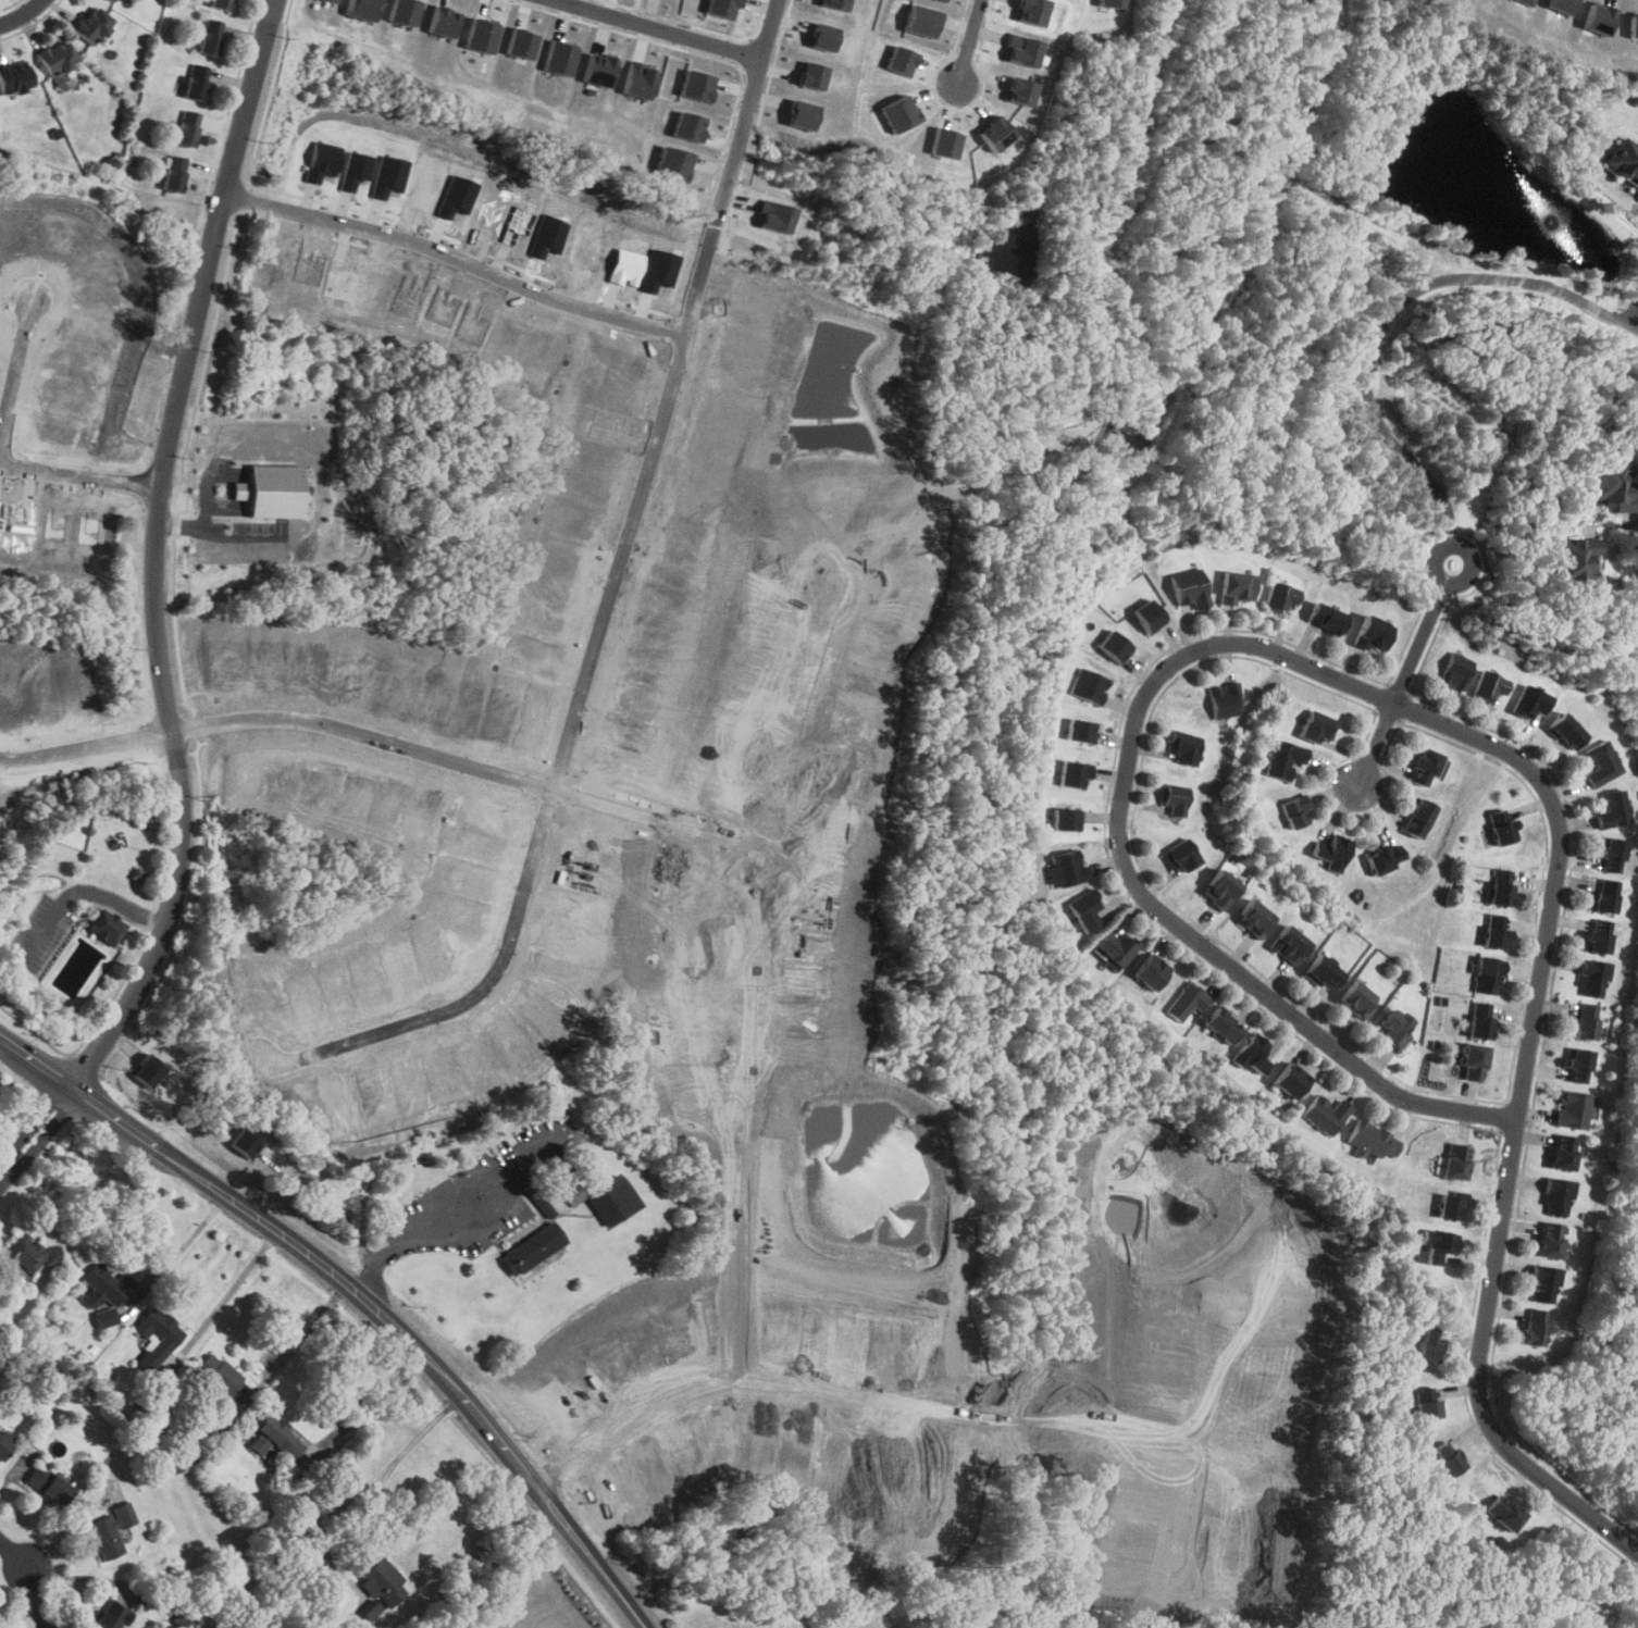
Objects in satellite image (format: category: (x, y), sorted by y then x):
building: (111, 0)
building: (113, 0)
building: (942, 0)
building: (332, 1)
building: (1527, 2)
building: (220, 3)
building: (832, 3)
building: (1112, 3)
building: (1563, 5)
building: (722, 8)
building: (363, 9)
building: (405, 11)
building: (1029, 11)
road: (23, 15)
building: (1601, 18)
building: (444, 21)
building: (922, 21)
building: (92, 25)
building: (1635, 25)
road: (663, 28)
building: (482, 35)
building: (210, 37)
building: (821, 37)
road: (970, 40)
building: (522, 44)
building: (1020, 49)
building: (58, 58)
building: (560, 58)
building: (899, 60)
building: (599, 70)
building: (810, 75)
building: (14, 77)
building: (638, 79)
building: (196, 82)
building: (696, 85)
building: (1019, 90)
building: (898, 112)
building: (801, 114)
building: (687, 126)
building: (187, 127)
building: (994, 133)
building: (944, 142)
building: (1625, 159)
building: (673, 163)
building: (174, 174)
building: (1637, 194)
building: (775, 215)
road: (460, 261)
road: (1390, 312)
road: (1633, 315)
road: (25, 385)
road: (84, 476)
building: (1614, 488)
building: (269, 494)
road: (1625, 536)
road: (162, 554)
building: (1576, 559)
building: (1239, 587)
building: (1190, 588)
building: (1281, 597)
road: (617, 610)
building: (1151, 614)
building: (1327, 619)
building: (1374, 634)
building: (1116, 645)
road: (1199, 649)
building: (1455, 672)
road: (1404, 679)
building: (1091, 684)
building: (1488, 687)
building: (1225, 700)
building: (1530, 703)
building: (1318, 726)
building: (1081, 730)
building: (1566, 731)
road: (382, 741)
building: (1184, 747)
building: (1283, 758)
building: (1601, 763)
building: (1424, 768)
building: (1075, 772)
building: (1175, 798)
building: (1613, 810)
building: (1296, 811)
building: (1066, 818)
building: (1418, 819)
building: (1502, 825)
building: (1331, 853)
building: (1180, 856)
building: (1612, 856)
building: (1385, 859)
building: (1068, 868)
building: (1502, 888)
building: (1220, 890)
road: (80, 891)
building: (1605, 896)
building: (1085, 909)
building: (1254, 919)
building: (106, 928)
building: (1496, 932)
building: (1598, 936)
building: (1290, 945)
building: (1117, 947)
road: (743, 972)
building: (1152, 972)
building: (1323, 972)
building: (1488, 977)
building: (1592, 979)
building: (1358, 999)
building: (1186, 1003)
building: (1480, 1021)
building: (1586, 1022)
building: (1223, 1026)
building: (1395, 1027)
building: (1252, 1055)
building: (1474, 1061)
building: (1578, 1066)
building: (148, 1070)
building: (1291, 1081)
building: (158, 1084)
building: (1573, 1110)
building: (1326, 1114)
road: (110, 1118)
road: (35, 1134)
building: (1373, 1140)
building: (245, 1142)
building: (1563, 1153)
building: (1455, 1161)
building: (1556, 1196)
building: (612, 1202)
road: (336, 1204)
road: (459, 1206)
building: (1450, 1207)
road: (246, 1213)
road: (469, 1235)
building: (1550, 1240)
building: (1439, 1245)
road: (181, 1247)
building: (531, 1248)
building: (26, 1253)
road: (308, 1256)
building: (1543, 1284)
road: (350, 1288)
building: (104, 1290)
road: (224, 1296)
building: (1535, 1327)
building: (158, 1332)
road: (305, 1332)
building: (1429, 1344)
road: (1481, 1370)
building: (223, 1378)
road: (853, 1389)
road: (365, 1396)
building: (1428, 1402)
road: (1204, 1430)
building: (275, 1438)
road: (415, 1439)
building: (3, 1447)
road: (509, 1454)
building: (1448, 1457)
road: (869, 1469)
building: (48, 1484)
building: (1504, 1513)
building: (110, 1530)
road: (14, 1554)
building: (379, 1578)
building: (371, 1611)
building: (109, 1615)

